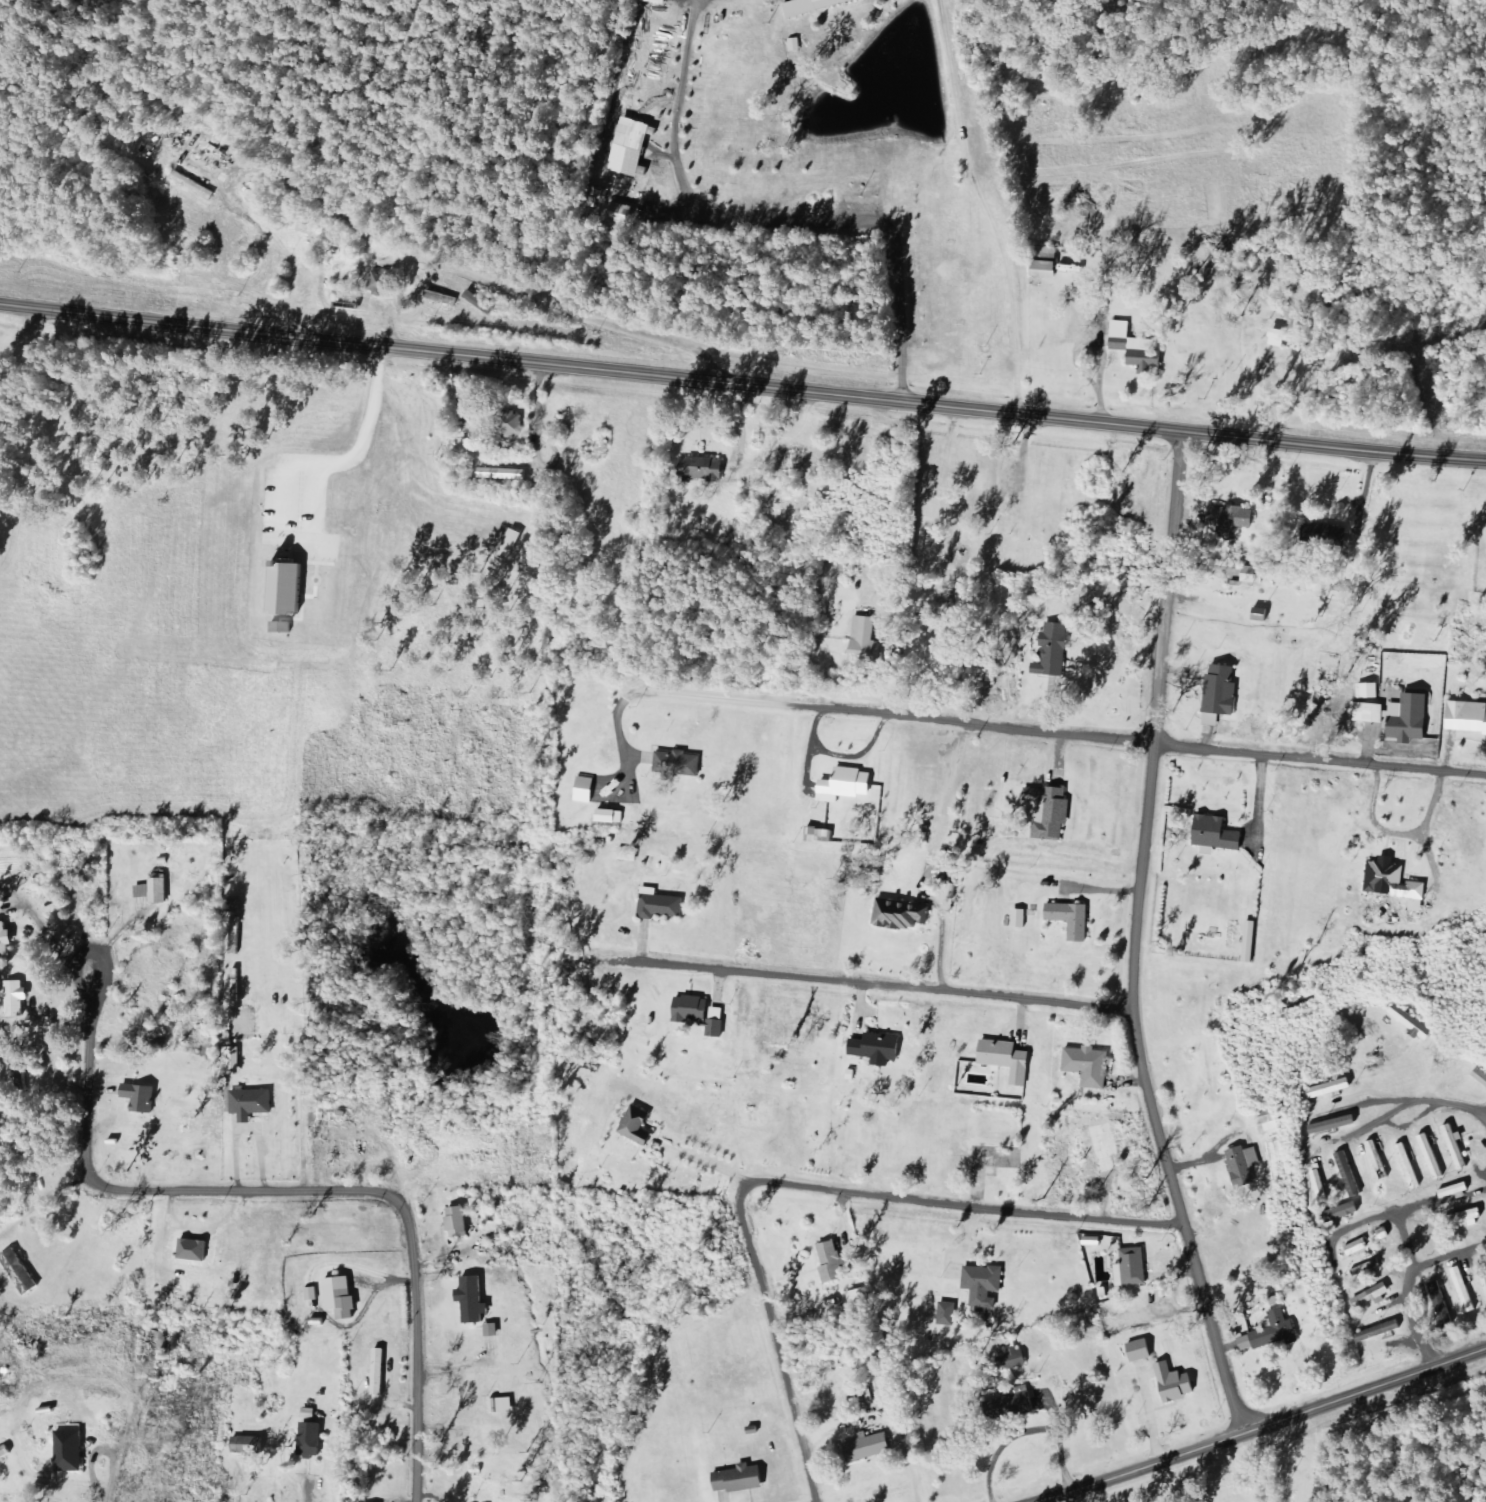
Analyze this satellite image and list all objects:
building: (660, 2)
building: (818, 6)
building: (623, 213)
road: (352, 220)
building: (1047, 263)
building: (383, 284)
building: (444, 298)
building: (1282, 339)
building: (1138, 349)
road: (742, 385)
building: (516, 424)
building: (703, 469)
building: (1234, 519)
building: (513, 545)
building: (1256, 576)
building: (290, 590)
building: (1263, 616)
building: (284, 629)
building: (868, 642)
building: (1055, 653)
building: (1365, 691)
building: (1222, 696)
building: (1367, 712)
building: (1405, 717)
building: (1464, 717)
road: (1047, 743)
building: (679, 764)
building: (849, 785)
building: (588, 790)
building: (1052, 812)
building: (613, 817)
building: (1217, 835)
building: (631, 855)
building: (1384, 866)
building: (161, 891)
building: (144, 892)
building: (1418, 895)
building: (661, 905)
building: (903, 914)
building: (1074, 920)
building: (6, 940)
road: (1167, 942)
building: (1252, 942)
building: (17, 998)
road: (892, 1006)
road: (1434, 1006)
building: (700, 1014)
building: (1412, 1023)
building: (878, 1047)
building: (1009, 1059)
building: (234, 1061)
building: (1090, 1066)
building: (1328, 1086)
building: (142, 1097)
building: (253, 1103)
building: (640, 1126)
building: (1271, 1126)
building: (1457, 1148)
building: (1432, 1156)
building: (1379, 1160)
building: (1246, 1166)
building: (1410, 1166)
road: (1355, 1170)
building: (1350, 1174)
building: (1320, 1186)
building: (1348, 1210)
road: (835, 1215)
building: (459, 1222)
building: (1359, 1247)
building: (833, 1262)
building: (1133, 1268)
building: (1368, 1268)
building: (22, 1272)
building: (1483, 1274)
building: (985, 1285)
building: (1464, 1290)
building: (313, 1294)
building: (1374, 1296)
building: (343, 1297)
building: (859, 1298)
building: (475, 1300)
building: (1443, 1304)
building: (949, 1314)
building: (494, 1330)
building: (1380, 1331)
building: (1272, 1333)
building: (1143, 1351)
building: (1019, 1359)
building: (381, 1372)
building: (1178, 1384)
building: (1030, 1401)
road: (1260, 1427)
building: (313, 1440)
building: (248, 1444)
building: (871, 1447)
building: (72, 1451)
building: (6, 1454)
building: (743, 1479)

